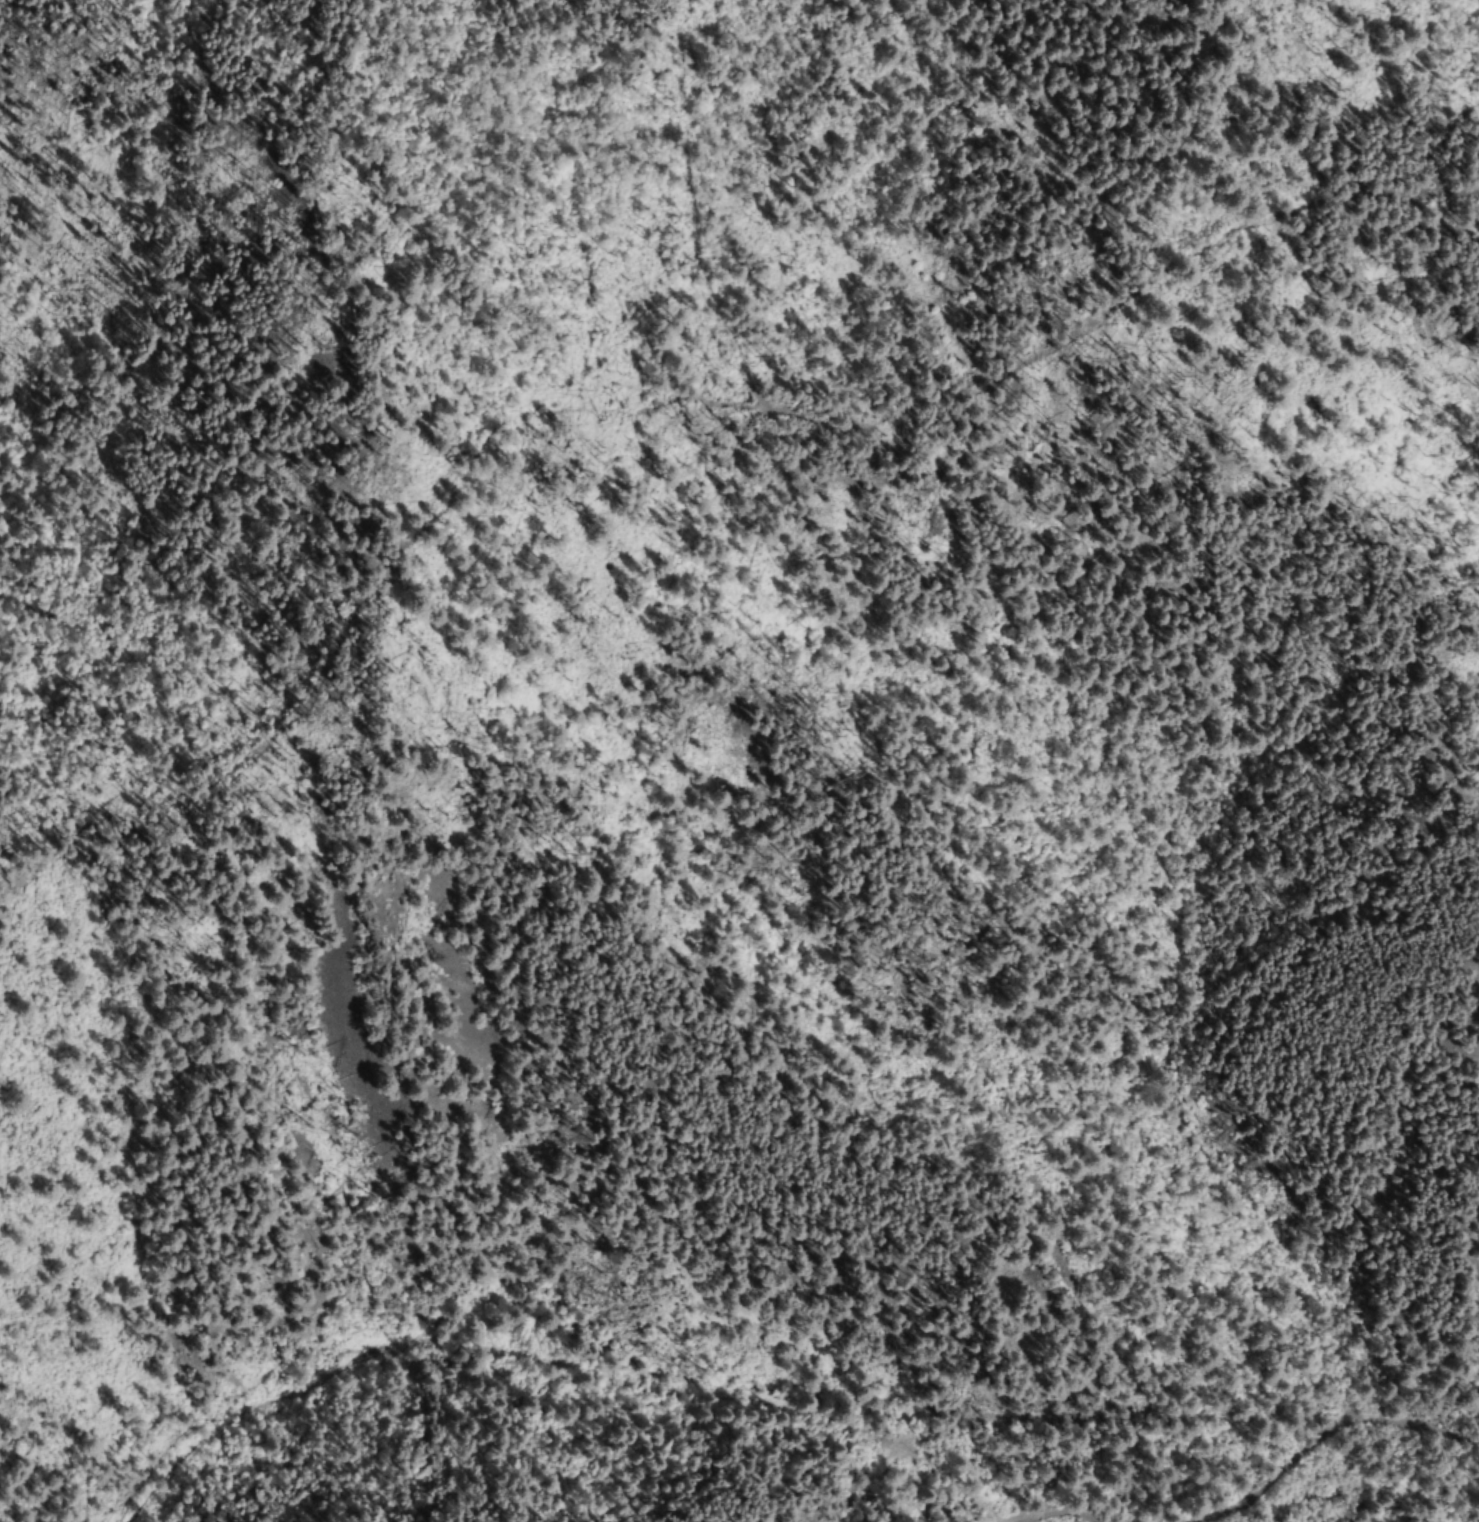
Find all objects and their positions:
road: (1330, 1440)
road: (1060, 1513)

